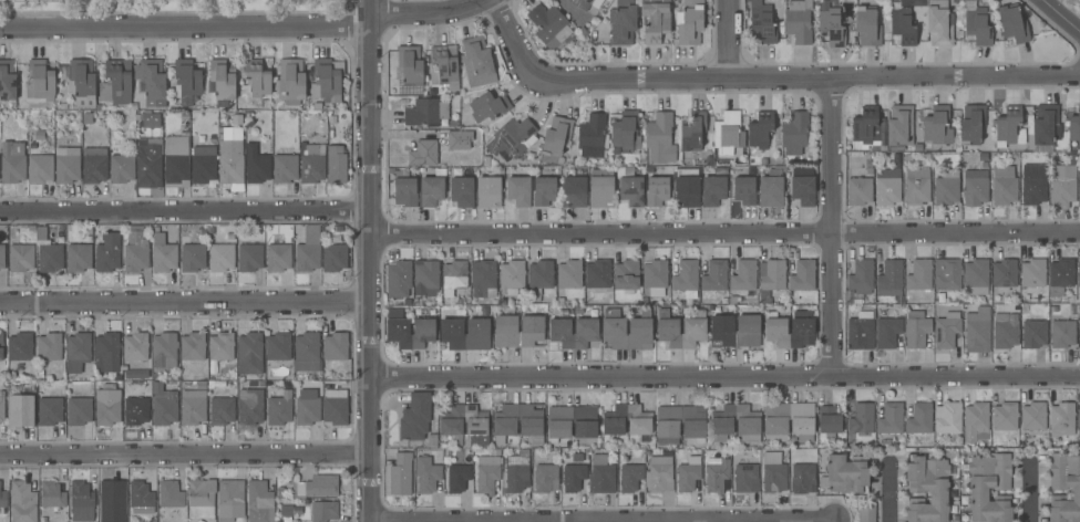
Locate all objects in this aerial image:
park: (126, 3)
building: (586, 3)
road: (1061, 14)
road: (433, 15)
building: (798, 21)
building: (623, 22)
building: (657, 22)
building: (689, 22)
building: (762, 22)
building: (977, 23)
building: (1014, 23)
building: (549, 25)
building: (904, 25)
building: (866, 27)
building: (938, 27)
building: (831, 28)
road: (185, 29)
road: (730, 40)
building: (476, 62)
building: (444, 66)
building: (409, 70)
building: (257, 79)
building: (223, 80)
building: (328, 80)
building: (7, 81)
building: (40, 81)
building: (152, 81)
building: (186, 81)
building: (291, 81)
road: (765, 81)
building: (82, 83)
building: (116, 83)
building: (64, 106)
building: (318, 106)
building: (488, 106)
building: (425, 112)
building: (151, 119)
building: (971, 124)
building: (901, 125)
building: (937, 125)
building: (1046, 125)
building: (1074, 126)
building: (1010, 127)
building: (865, 128)
building: (760, 129)
building: (692, 130)
building: (626, 132)
building: (728, 133)
building: (40, 136)
building: (592, 136)
building: (795, 136)
building: (512, 137)
building: (659, 138)
building: (459, 139)
building: (556, 139)
building: (213, 142)
building: (423, 153)
building: (230, 161)
building: (764, 161)
building: (12, 163)
building: (148, 163)
building: (176, 163)
building: (311, 164)
building: (66, 165)
building: (94, 165)
building: (203, 165)
building: (256, 165)
building: (336, 165)
building: (285, 168)
building: (40, 169)
building: (121, 169)
building: (870, 171)
building: (888, 184)
building: (1033, 184)
building: (1062, 184)
building: (630, 186)
building: (1004, 186)
building: (916, 187)
building: (975, 187)
building: (687, 188)
building: (946, 188)
building: (404, 189)
building: (432, 189)
building: (574, 189)
building: (601, 189)
building: (802, 189)
building: (518, 190)
building: (657, 190)
building: (713, 190)
building: (744, 190)
building: (462, 191)
building: (488, 191)
building: (544, 191)
building: (770, 191)
building: (858, 191)
building: (1079, 194)
road: (186, 210)
road: (834, 228)
road: (727, 231)
building: (41, 233)
building: (308, 250)
building: (107, 252)
building: (135, 252)
building: (163, 254)
building: (2, 257)
building: (193, 257)
building: (21, 258)
building: (50, 258)
building: (78, 258)
building: (220, 258)
building: (249, 258)
building: (278, 258)
building: (333, 258)
road: (373, 261)
building: (947, 273)
building: (1005, 273)
building: (399, 274)
building: (569, 274)
building: (597, 274)
building: (742, 274)
building: (1079, 274)
building: (626, 275)
building: (802, 275)
building: (919, 275)
building: (1060, 275)
building: (454, 276)
building: (512, 276)
building: (539, 276)
building: (655, 276)
building: (714, 276)
building: (861, 276)
building: (976, 276)
building: (425, 278)
building: (685, 278)
building: (770, 278)
building: (1032, 278)
building: (483, 279)
building: (889, 279)
building: (733, 301)
road: (187, 305)
building: (721, 323)
building: (802, 325)
building: (398, 326)
building: (693, 326)
building: (614, 327)
building: (575, 328)
building: (916, 330)
building: (946, 330)
building: (1079, 330)
building: (861, 331)
building: (977, 331)
building: (518, 332)
building: (887, 332)
building: (1004, 332)
building: (465, 334)
building: (1033, 334)
building: (1062, 334)
building: (1, 346)
building: (20, 346)
building: (49, 346)
building: (135, 346)
building: (193, 346)
building: (220, 346)
building: (278, 346)
building: (336, 346)
building: (164, 349)
building: (78, 352)
building: (307, 352)
building: (106, 353)
building: (249, 357)
road: (727, 374)
building: (136, 375)
building: (117, 378)
building: (107, 405)
building: (163, 405)
building: (278, 405)
building: (193, 407)
building: (249, 407)
building: (307, 407)
building: (335, 407)
building: (136, 409)
building: (2, 410)
building: (222, 410)
building: (20, 411)
building: (50, 411)
building: (79, 411)
building: (1005, 416)
building: (415, 417)
building: (1033, 417)
building: (891, 418)
building: (947, 418)
building: (1079, 418)
building: (861, 419)
building: (919, 419)
building: (1061, 419)
building: (975, 420)
building: (520, 421)
building: (573, 421)
building: (628, 421)
building: (829, 421)
building: (450, 426)
building: (775, 426)
building: (748, 427)
building: (667, 429)
building: (432, 441)
road: (185, 455)
building: (516, 470)
building: (487, 472)
building: (772, 472)
building: (400, 474)
building: (426, 474)
building: (601, 474)
building: (632, 474)
building: (659, 474)
building: (688, 474)
building: (845, 474)
building: (717, 477)
building: (457, 478)
building: (545, 478)
building: (573, 478)
building: (745, 478)
building: (802, 479)
building: (315, 487)
building: (999, 488)
building: (927, 489)
building: (1057, 489)
road: (888, 492)
road: (1029, 492)
building: (52, 494)
building: (169, 494)
building: (141, 498)
building: (202, 498)
building: (3, 499)
building: (112, 500)
building: (230, 500)
building: (258, 501)
building: (22, 502)
building: (81, 502)
building: (953, 510)
building: (286, 511)
building: (323, 511)
building: (866, 511)
building: (287, 520)
road: (720, 521)

